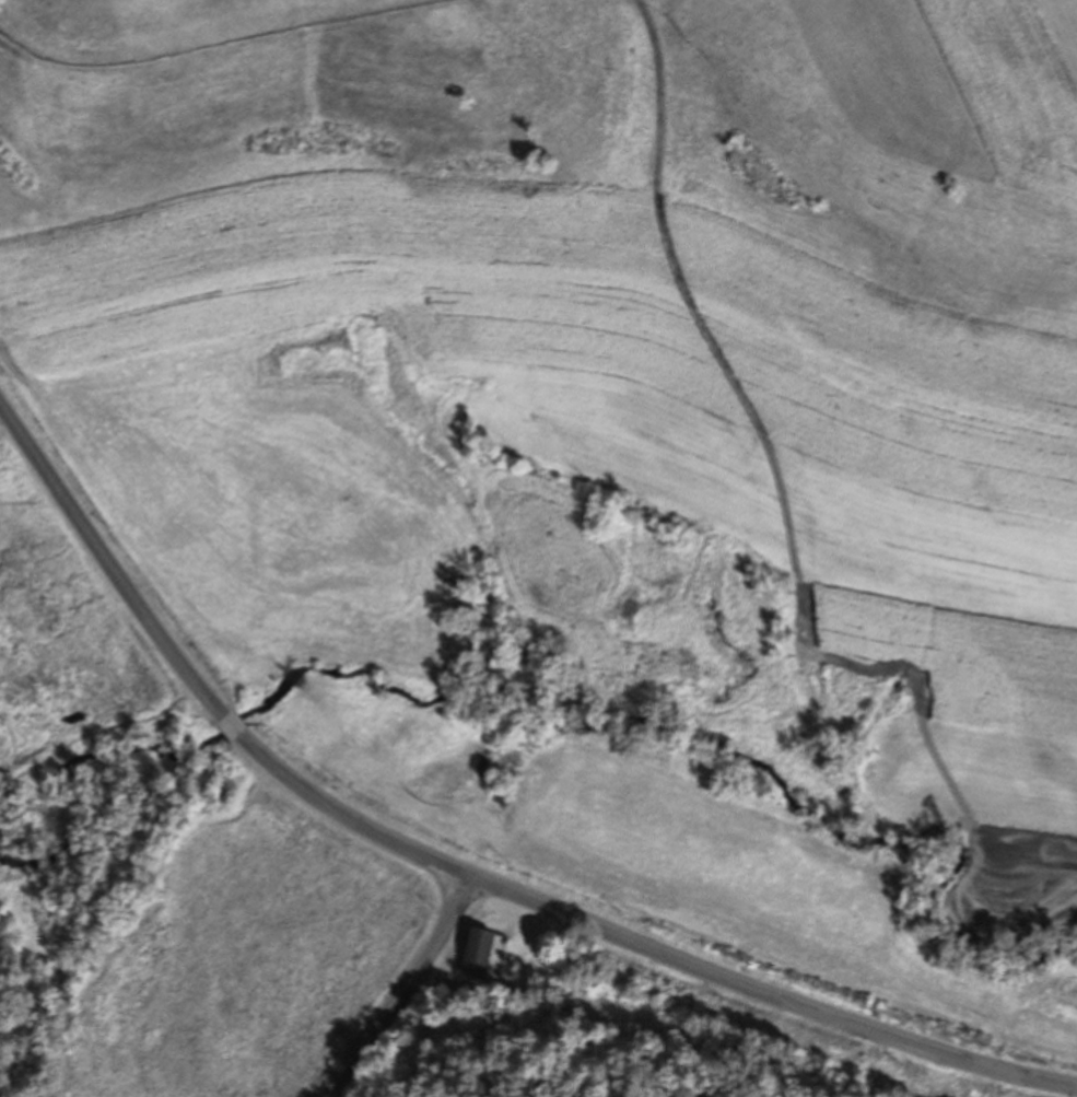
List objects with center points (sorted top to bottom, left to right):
road: (108, 559)
road: (233, 725)
road: (644, 944)
building: (479, 955)
road: (449, 984)
road: (405, 989)
building: (505, 990)

